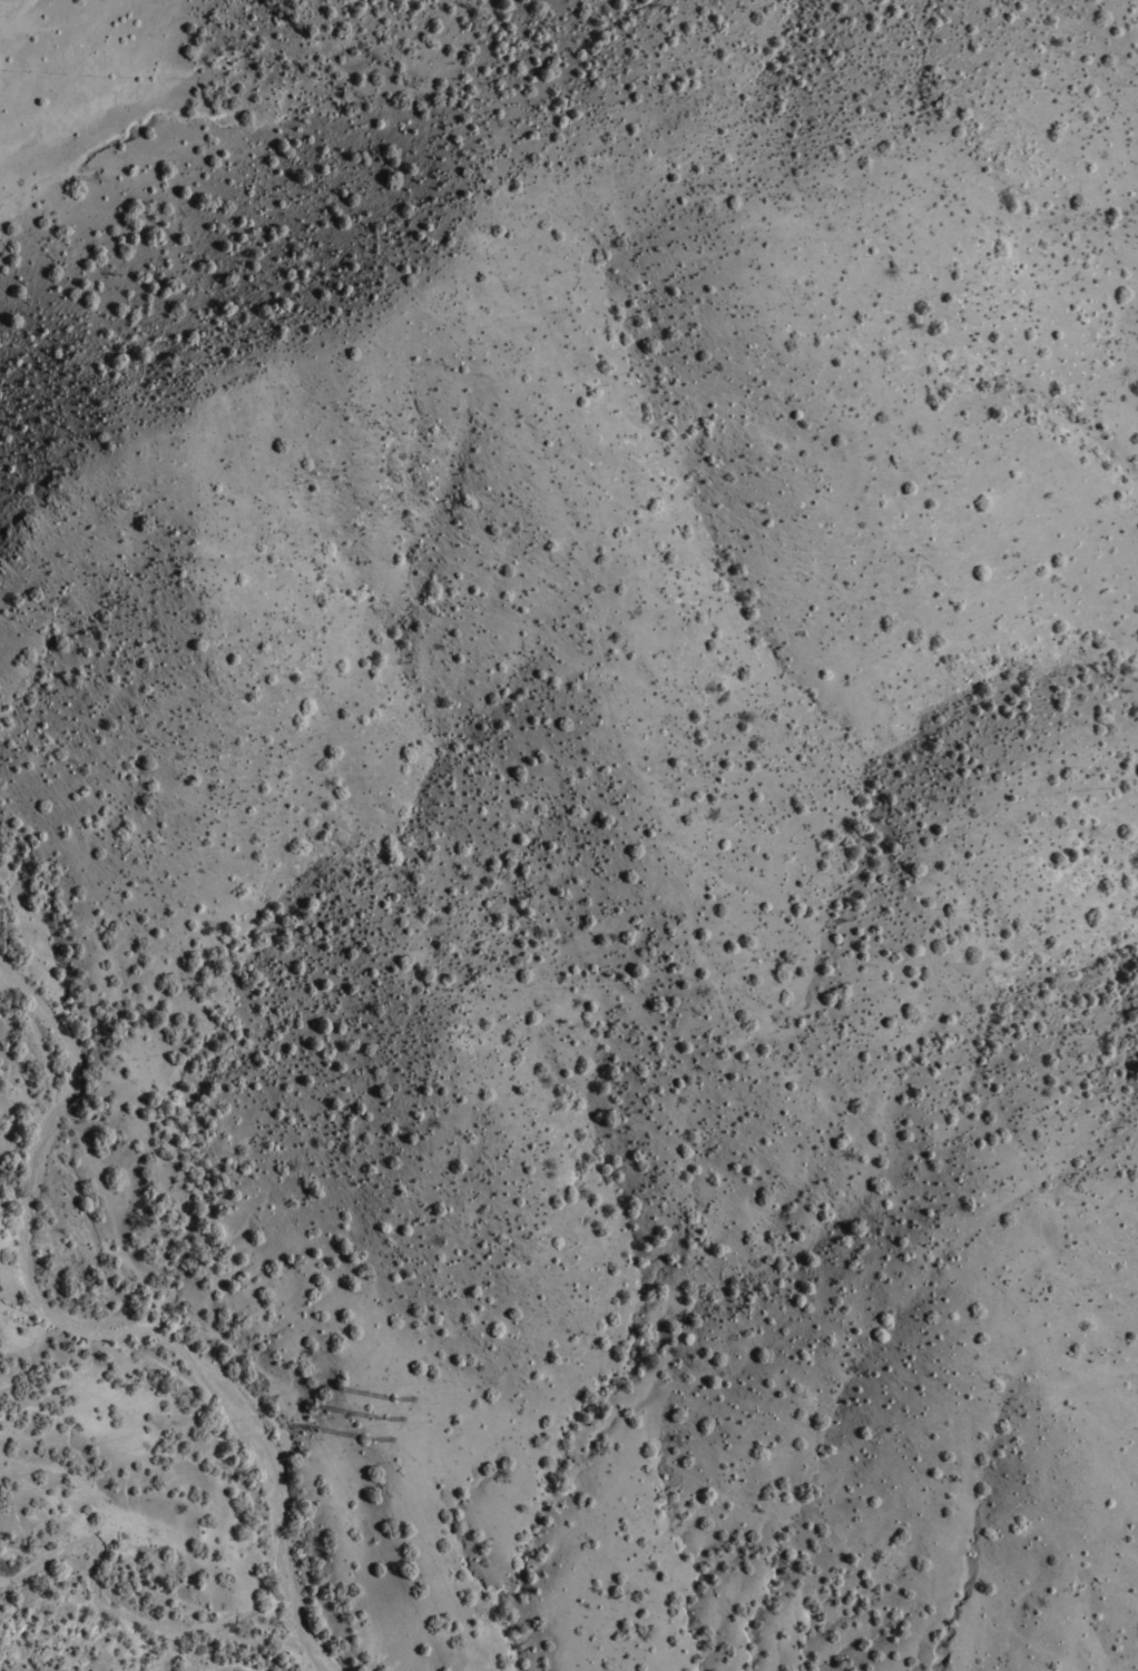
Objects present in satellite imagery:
power tower: (381, 1418)

